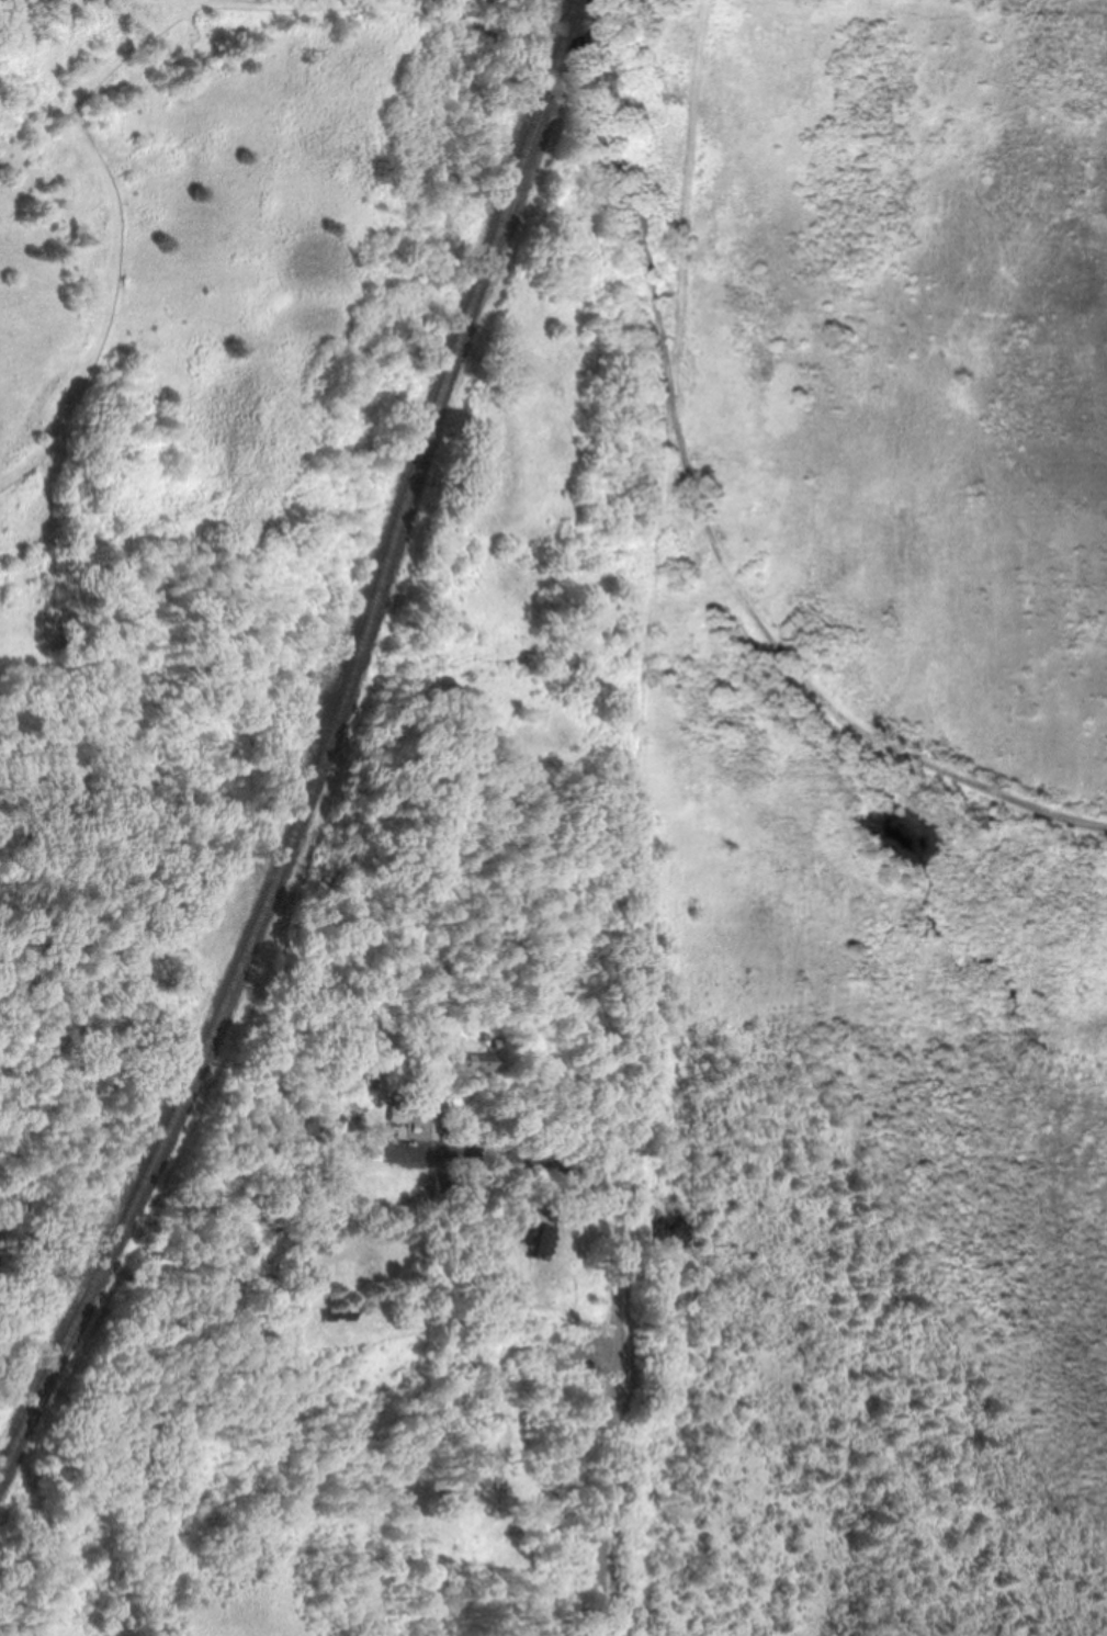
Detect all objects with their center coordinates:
road: (539, 65)
road: (121, 250)
road: (705, 519)
park: (516, 582)
railway: (327, 759)
building: (471, 1063)
building: (541, 1239)
road: (26, 1243)
road: (619, 1354)

